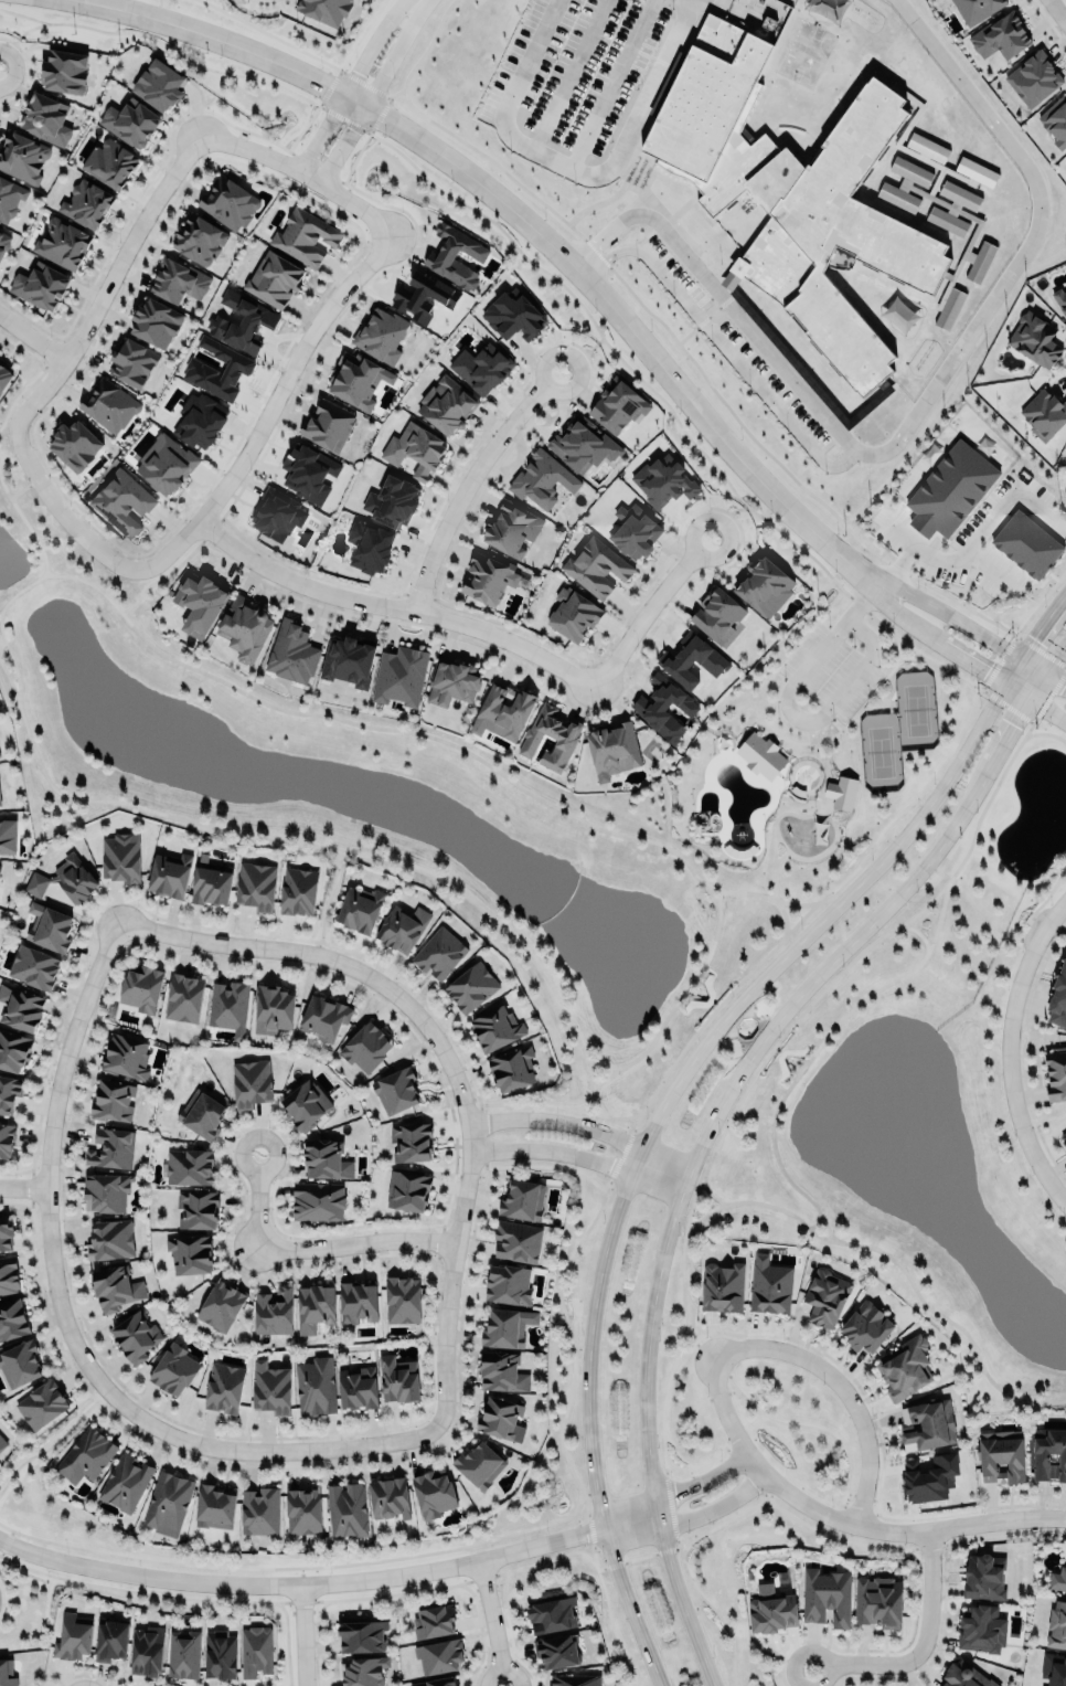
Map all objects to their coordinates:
building: (326, 9)
building: (976, 9)
road: (1058, 10)
road: (244, 20)
road: (30, 29)
building: (1000, 35)
building: (65, 71)
road: (343, 73)
road: (567, 74)
building: (1034, 77)
road: (610, 83)
road: (366, 84)
building: (158, 85)
building: (46, 118)
building: (1055, 120)
building: (131, 123)
building: (22, 156)
building: (1065, 159)
building: (109, 162)
road: (306, 166)
road: (574, 166)
building: (926, 180)
building: (792, 194)
building: (10, 199)
building: (230, 202)
building: (86, 204)
road: (520, 213)
building: (947, 221)
building: (306, 235)
building: (200, 238)
road: (1030, 241)
building: (4, 242)
building: (63, 243)
road: (596, 245)
building: (446, 255)
road: (608, 257)
building: (980, 262)
building: (275, 278)
building: (178, 280)
road: (106, 283)
building: (39, 284)
building: (422, 297)
building: (1060, 298)
building: (948, 307)
building: (513, 316)
road: (739, 317)
building: (156, 321)
building: (242, 322)
building: (381, 335)
road: (33, 338)
building: (1034, 338)
road: (596, 344)
building: (134, 362)
building: (481, 367)
road: (742, 368)
building: (217, 370)
building: (4, 374)
building: (355, 380)
road: (23, 388)
road: (266, 399)
building: (109, 404)
building: (447, 404)
building: (619, 405)
building: (1043, 409)
building: (195, 415)
building: (328, 425)
building: (75, 444)
building: (583, 444)
building: (415, 445)
building: (166, 463)
building: (308, 473)
road: (466, 473)
building: (540, 479)
building: (663, 480)
building: (950, 487)
road: (24, 488)
building: (392, 499)
building: (121, 502)
road: (740, 508)
road: (63, 509)
building: (277, 515)
road: (25, 524)
building: (513, 528)
building: (635, 531)
road: (972, 540)
building: (366, 542)
building: (1026, 544)
building: (596, 566)
road: (171, 570)
building: (489, 577)
road: (861, 581)
building: (765, 586)
road: (647, 600)
road: (391, 602)
building: (199, 603)
road: (939, 609)
building: (573, 614)
building: (718, 616)
building: (245, 628)
road: (915, 628)
road: (899, 649)
building: (291, 653)
road: (923, 656)
road: (1055, 657)
building: (692, 659)
building: (348, 661)
road: (971, 664)
road: (14, 667)
road: (12, 675)
parking lot: (830, 675)
building: (401, 676)
road: (1055, 678)
building: (452, 681)
road: (1014, 690)
building: (662, 702)
park: (916, 709)
road: (1046, 710)
building: (502, 711)
road: (795, 714)
road: (1016, 717)
road: (345, 720)
road: (781, 731)
road: (836, 733)
building: (566, 738)
building: (615, 747)
park: (881, 751)
building: (0, 753)
building: (763, 755)
road: (825, 777)
building: (841, 792)
water park: (733, 794)
building: (0, 796)
road: (898, 810)
road: (834, 833)
building: (8, 835)
road: (294, 836)
road: (778, 857)
building: (120, 859)
road: (774, 865)
building: (169, 874)
building: (64, 878)
building: (211, 886)
building: (256, 886)
building: (298, 890)
road: (739, 892)
road: (717, 894)
road: (328, 900)
road: (925, 906)
building: (359, 909)
road: (785, 916)
building: (50, 926)
building: (402, 929)
building: (439, 953)
building: (31, 964)
road: (887, 983)
building: (141, 987)
building: (470, 987)
road: (697, 990)
road: (692, 993)
building: (184, 997)
road: (678, 999)
building: (1058, 999)
building: (228, 1007)
building: (21, 1008)
building: (269, 1009)
building: (324, 1017)
road: (796, 1020)
building: (495, 1028)
road: (745, 1028)
road: (687, 1042)
building: (366, 1047)
road: (1003, 1047)
building: (13, 1050)
road: (447, 1053)
building: (125, 1057)
road: (795, 1062)
building: (512, 1069)
road: (795, 1069)
road: (590, 1070)
building: (1055, 1073)
building: (250, 1083)
road: (675, 1084)
building: (396, 1090)
building: (8, 1092)
building: (113, 1101)
road: (531, 1102)
building: (306, 1104)
road: (589, 1111)
building: (201, 1112)
road: (584, 1125)
building: (1064, 1137)
building: (7, 1139)
building: (411, 1142)
building: (111, 1147)
road: (579, 1156)
building: (326, 1159)
building: (188, 1167)
road: (685, 1180)
road: (21, 1184)
building: (104, 1189)
building: (407, 1190)
road: (708, 1192)
building: (522, 1198)
building: (319, 1202)
building: (196, 1209)
road: (814, 1224)
building: (6, 1234)
building: (110, 1240)
road: (299, 1240)
building: (514, 1241)
building: (191, 1253)
road: (894, 1260)
building: (9, 1275)
building: (721, 1282)
building: (508, 1284)
building: (769, 1284)
building: (115, 1289)
building: (825, 1298)
building: (403, 1300)
building: (359, 1302)
building: (221, 1305)
building: (315, 1307)
building: (273, 1311)
building: (12, 1318)
building: (865, 1326)
building: (507, 1327)
road: (65, 1328)
building: (136, 1336)
road: (696, 1342)
road: (682, 1355)
building: (20, 1364)
building: (907, 1368)
building: (174, 1369)
building: (502, 1372)
building: (398, 1379)
building: (315, 1387)
building: (223, 1388)
building: (358, 1388)
building: (271, 1389)
road: (838, 1395)
building: (42, 1404)
building: (500, 1417)
building: (927, 1425)
road: (662, 1436)
road: (53, 1442)
building: (2, 1443)
building: (85, 1455)
building: (1002, 1456)
building: (1049, 1456)
building: (479, 1463)
building: (928, 1476)
building: (125, 1482)
road: (672, 1486)
building: (433, 1494)
building: (388, 1497)
building: (167, 1503)
building: (214, 1508)
building: (257, 1510)
building: (303, 1510)
building: (347, 1510)
road: (685, 1515)
road: (841, 1524)
building: (984, 1578)
building: (1059, 1579)
road: (301, 1580)
road: (927, 1593)
building: (828, 1595)
building: (880, 1602)
building: (770, 1608)
road: (607, 1610)
building: (552, 1615)
building: (431, 1622)
road: (491, 1622)
building: (1057, 1625)
building: (981, 1630)
road: (298, 1633)
building: (360, 1634)
building: (73, 1637)
building: (110, 1641)
road: (810, 1647)
building: (147, 1651)
building: (255, 1651)
building: (558, 1652)
building: (438, 1653)
building: (184, 1655)
building: (220, 1655)
road: (875, 1666)
building: (365, 1672)
building: (1057, 1673)
building: (6, 1675)
building: (964, 1676)
building: (575, 1679)
building: (436, 1682)
road: (790, 1682)

